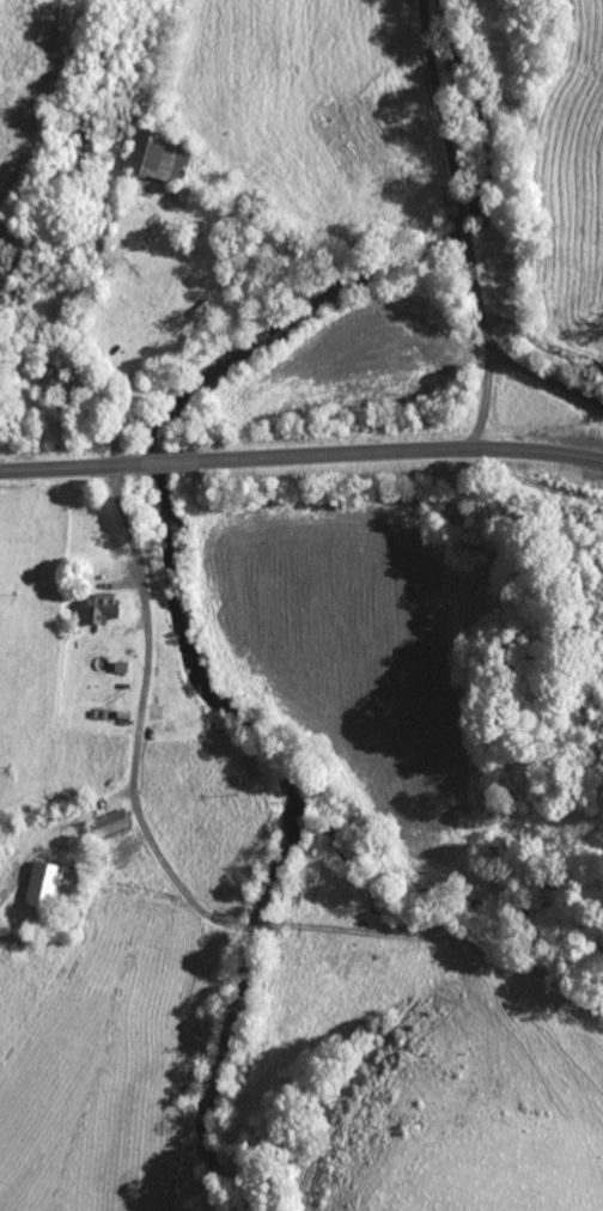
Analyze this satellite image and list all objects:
building: (159, 154)
road: (467, 236)
building: (62, 383)
road: (483, 394)
road: (301, 457)
building: (106, 610)
building: (163, 713)
road: (140, 723)
building: (112, 823)
building: (53, 886)
road: (267, 929)

